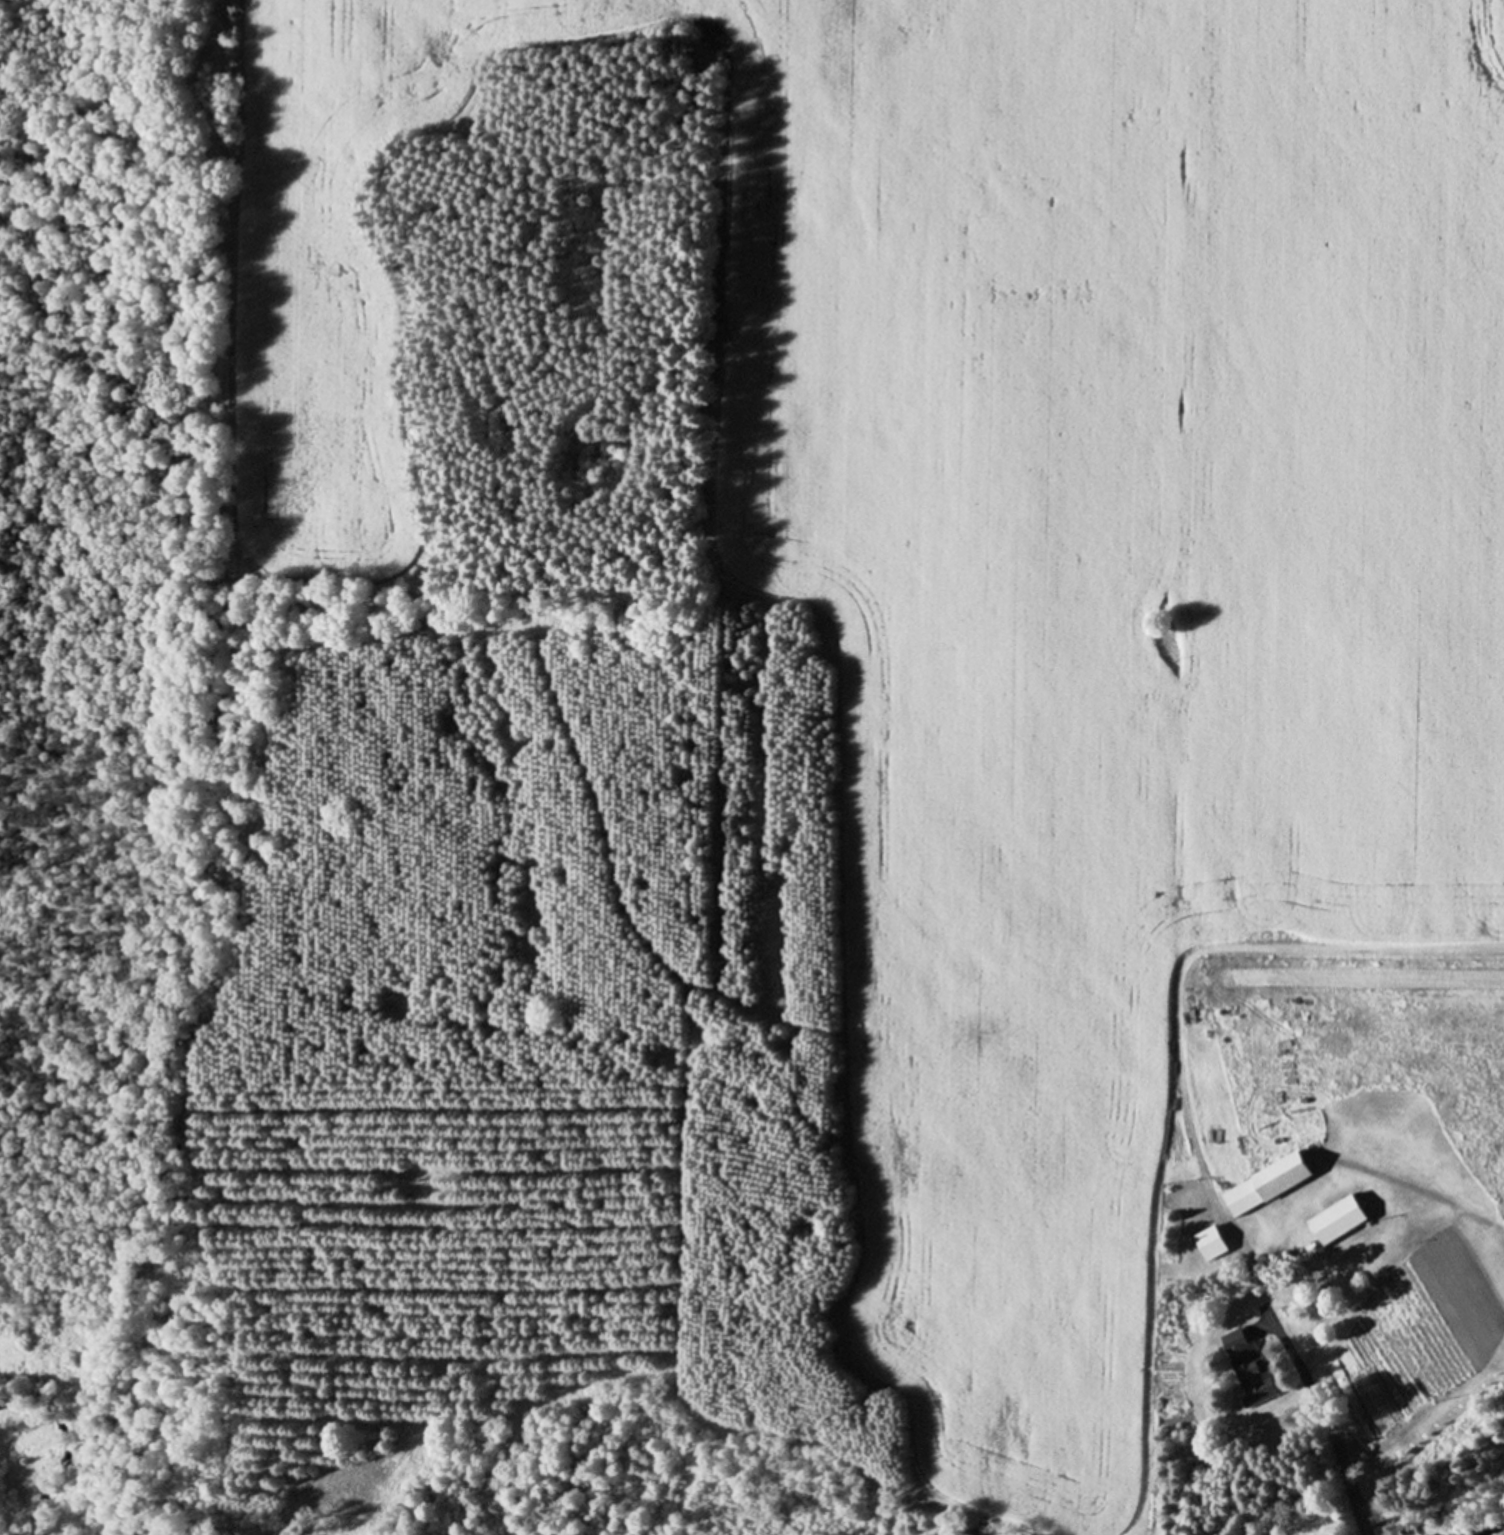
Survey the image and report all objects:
building: (1260, 1183)
building: (1333, 1219)
building: (1244, 1368)
road: (1313, 1412)
road: (1362, 1529)

